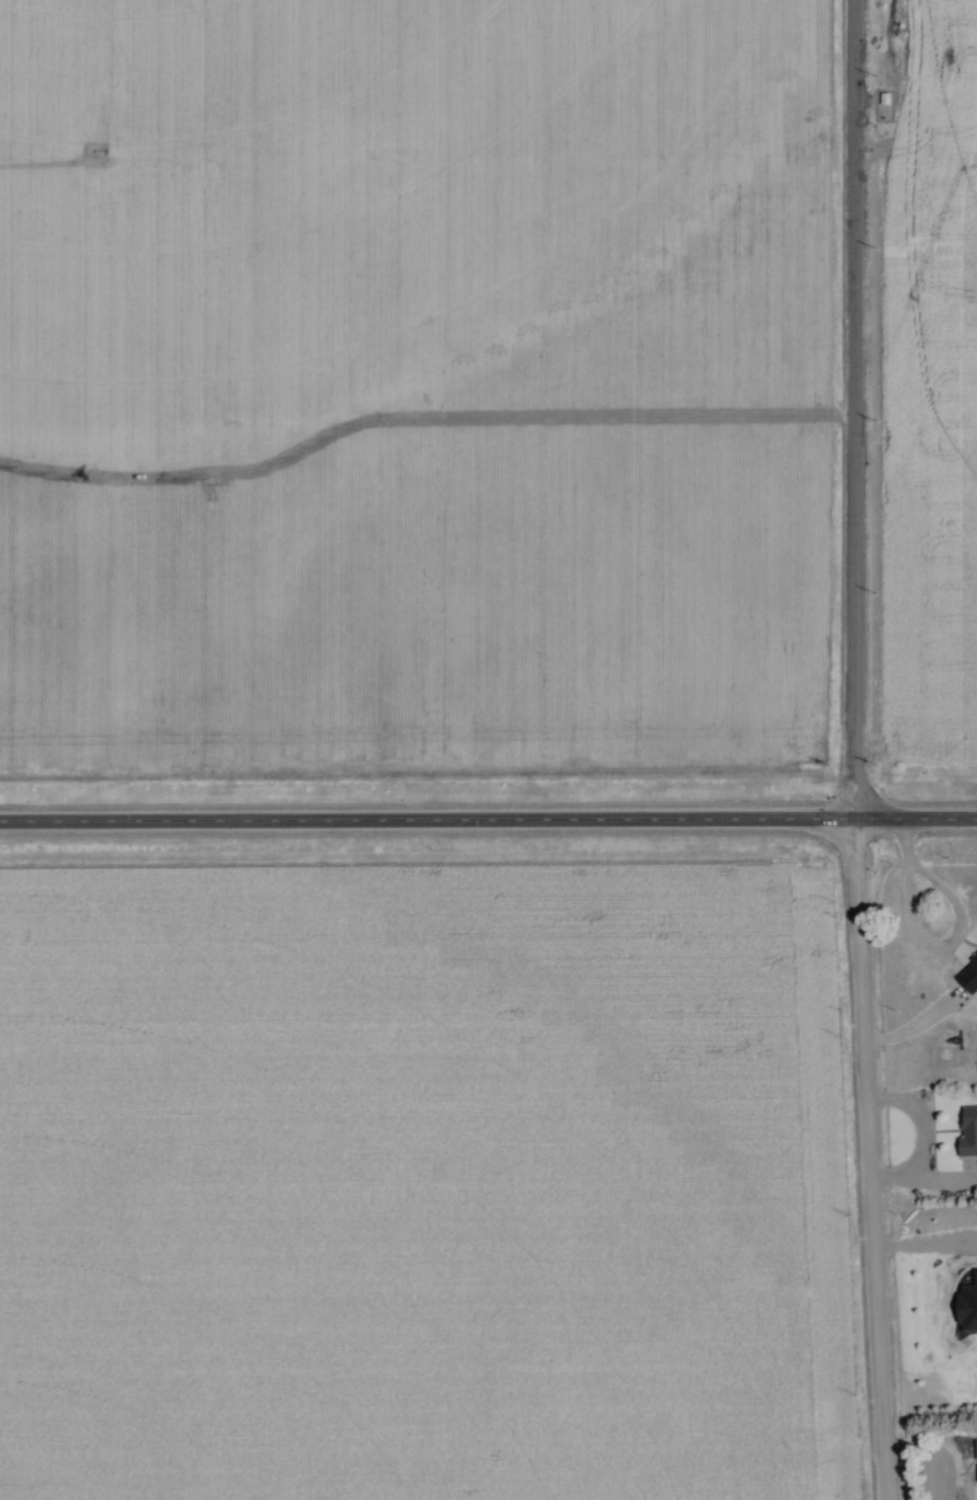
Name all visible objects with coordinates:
road: (854, 410)
road: (537, 821)
road: (49, 824)
road: (910, 900)
building: (968, 977)
building: (967, 1134)
road: (925, 1141)
road: (868, 1159)
building: (976, 1460)

